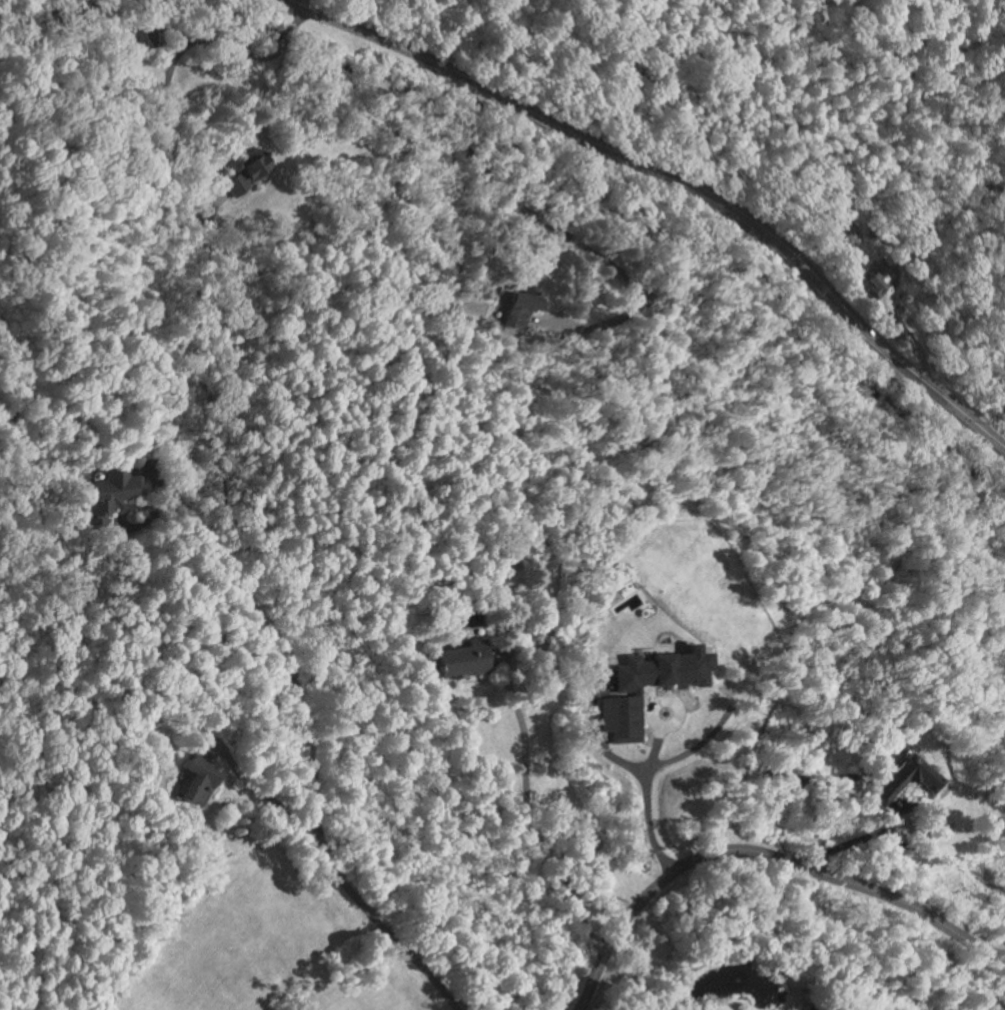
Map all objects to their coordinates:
road: (165, 78)
building: (244, 172)
road: (677, 175)
road: (579, 246)
building: (876, 283)
building: (514, 310)
building: (109, 493)
building: (454, 659)
building: (629, 694)
road: (694, 757)
building: (192, 778)
building: (899, 780)
road: (313, 781)
road: (258, 795)
road: (526, 817)
road: (764, 854)

